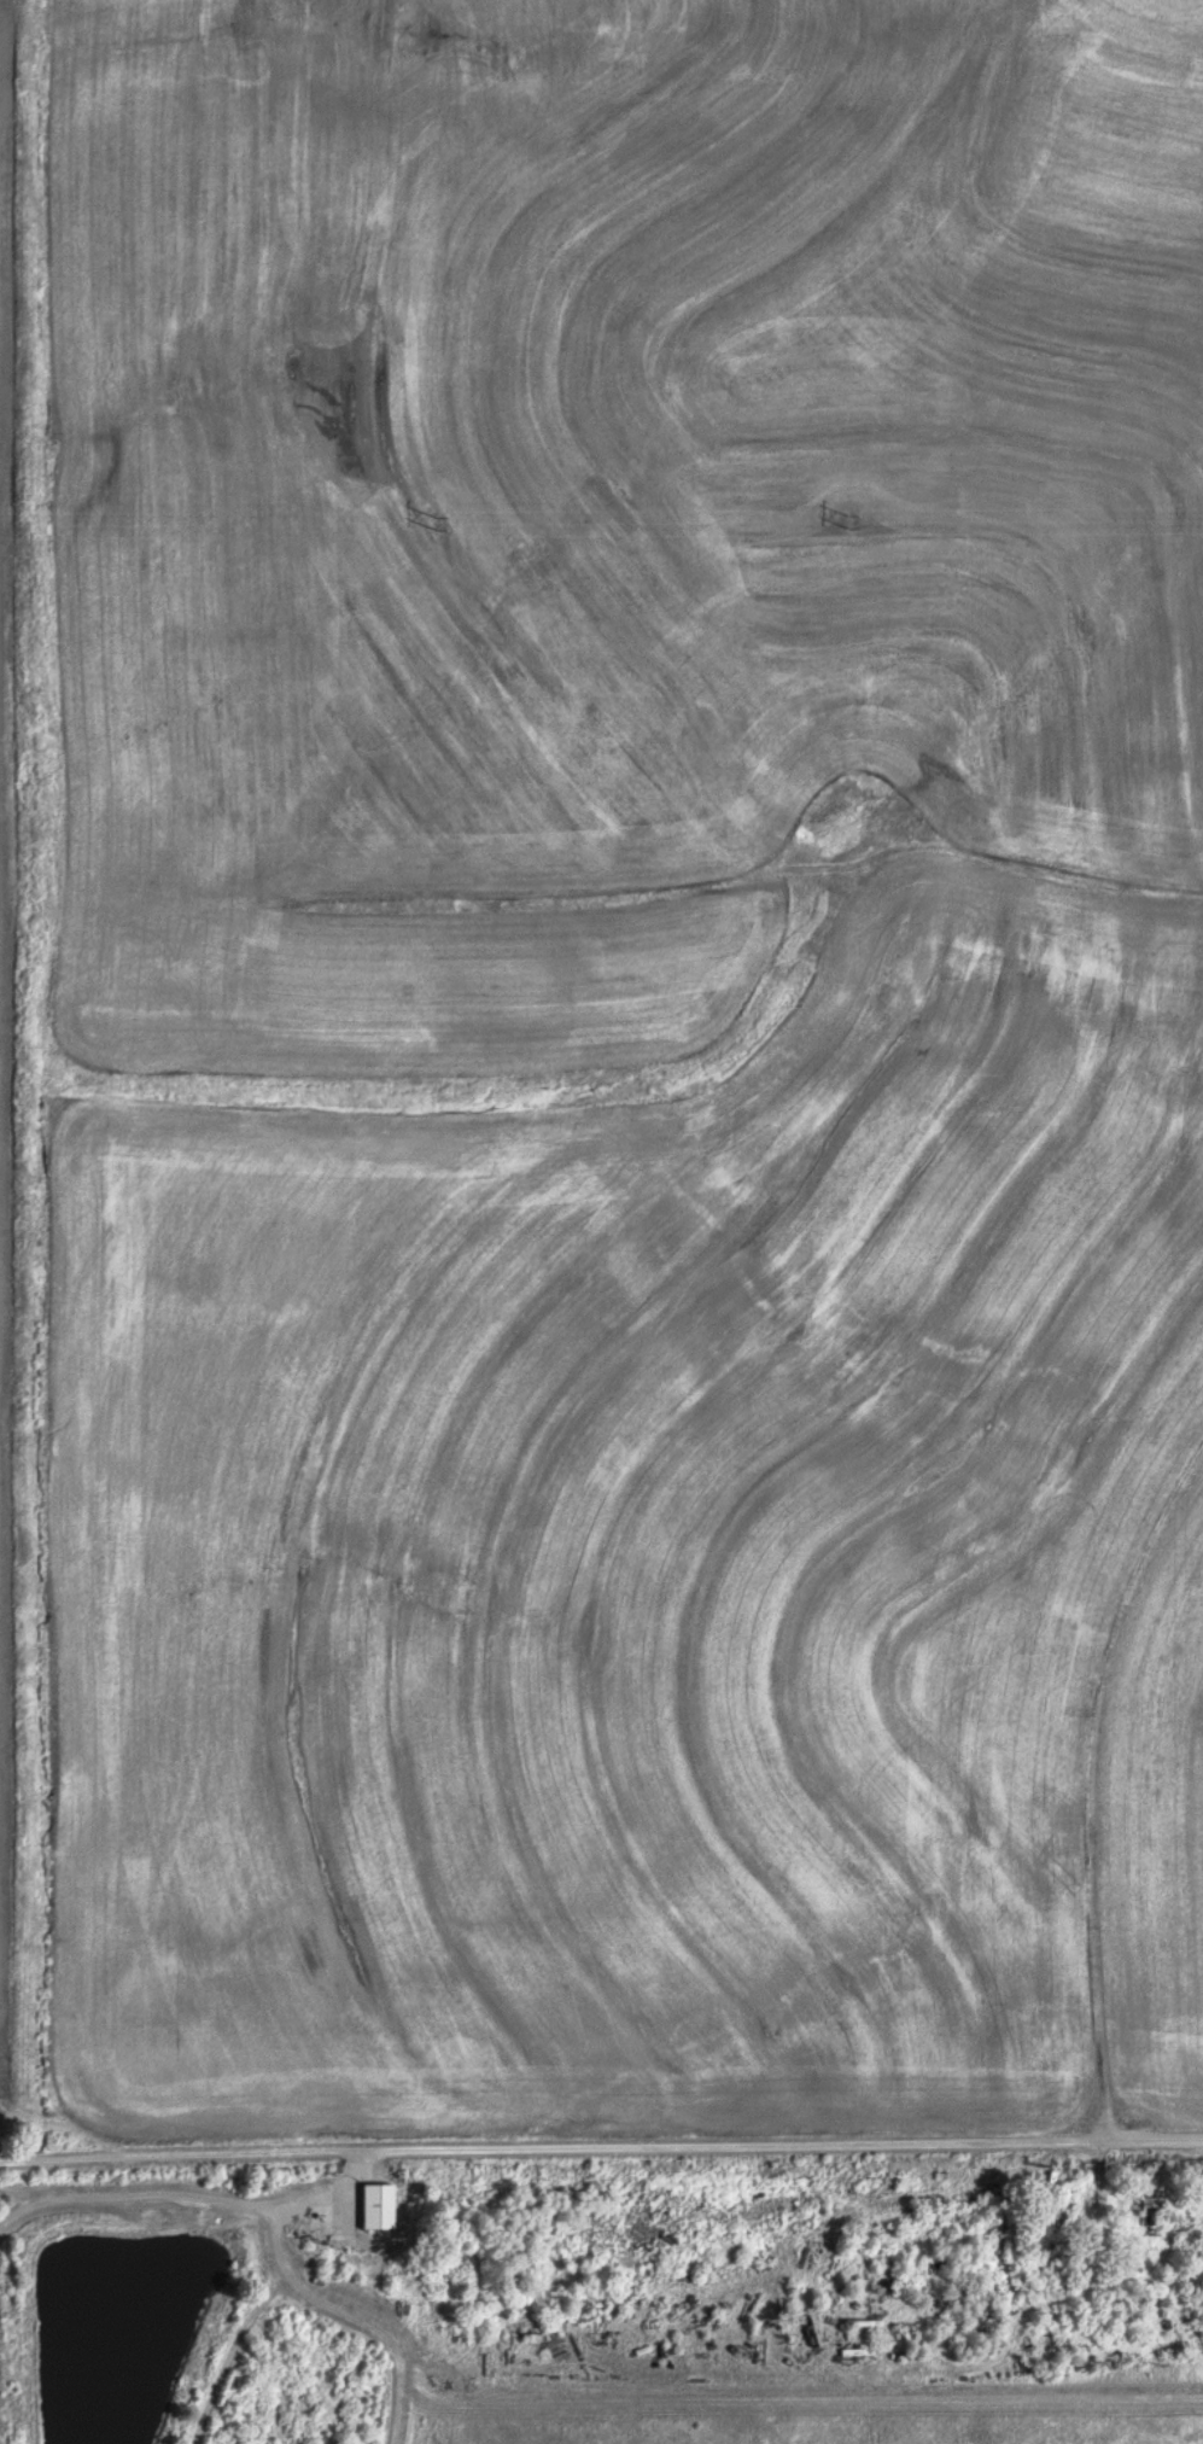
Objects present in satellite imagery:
road: (601, 2146)
building: (380, 2204)
building: (1152, 2207)

